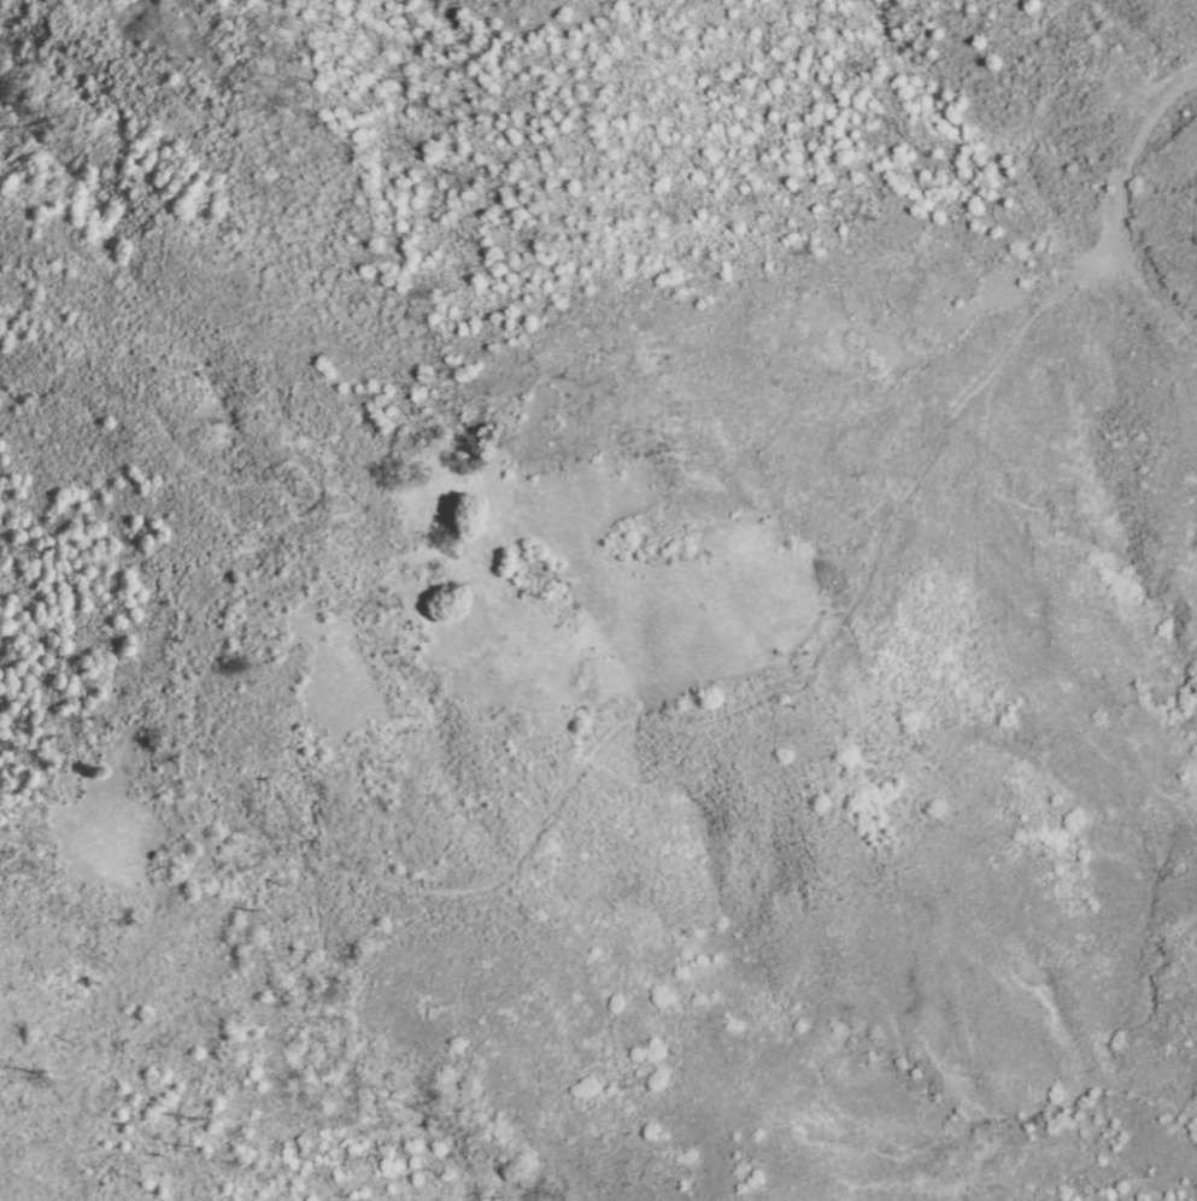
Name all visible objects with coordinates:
road: (1152, 130)

